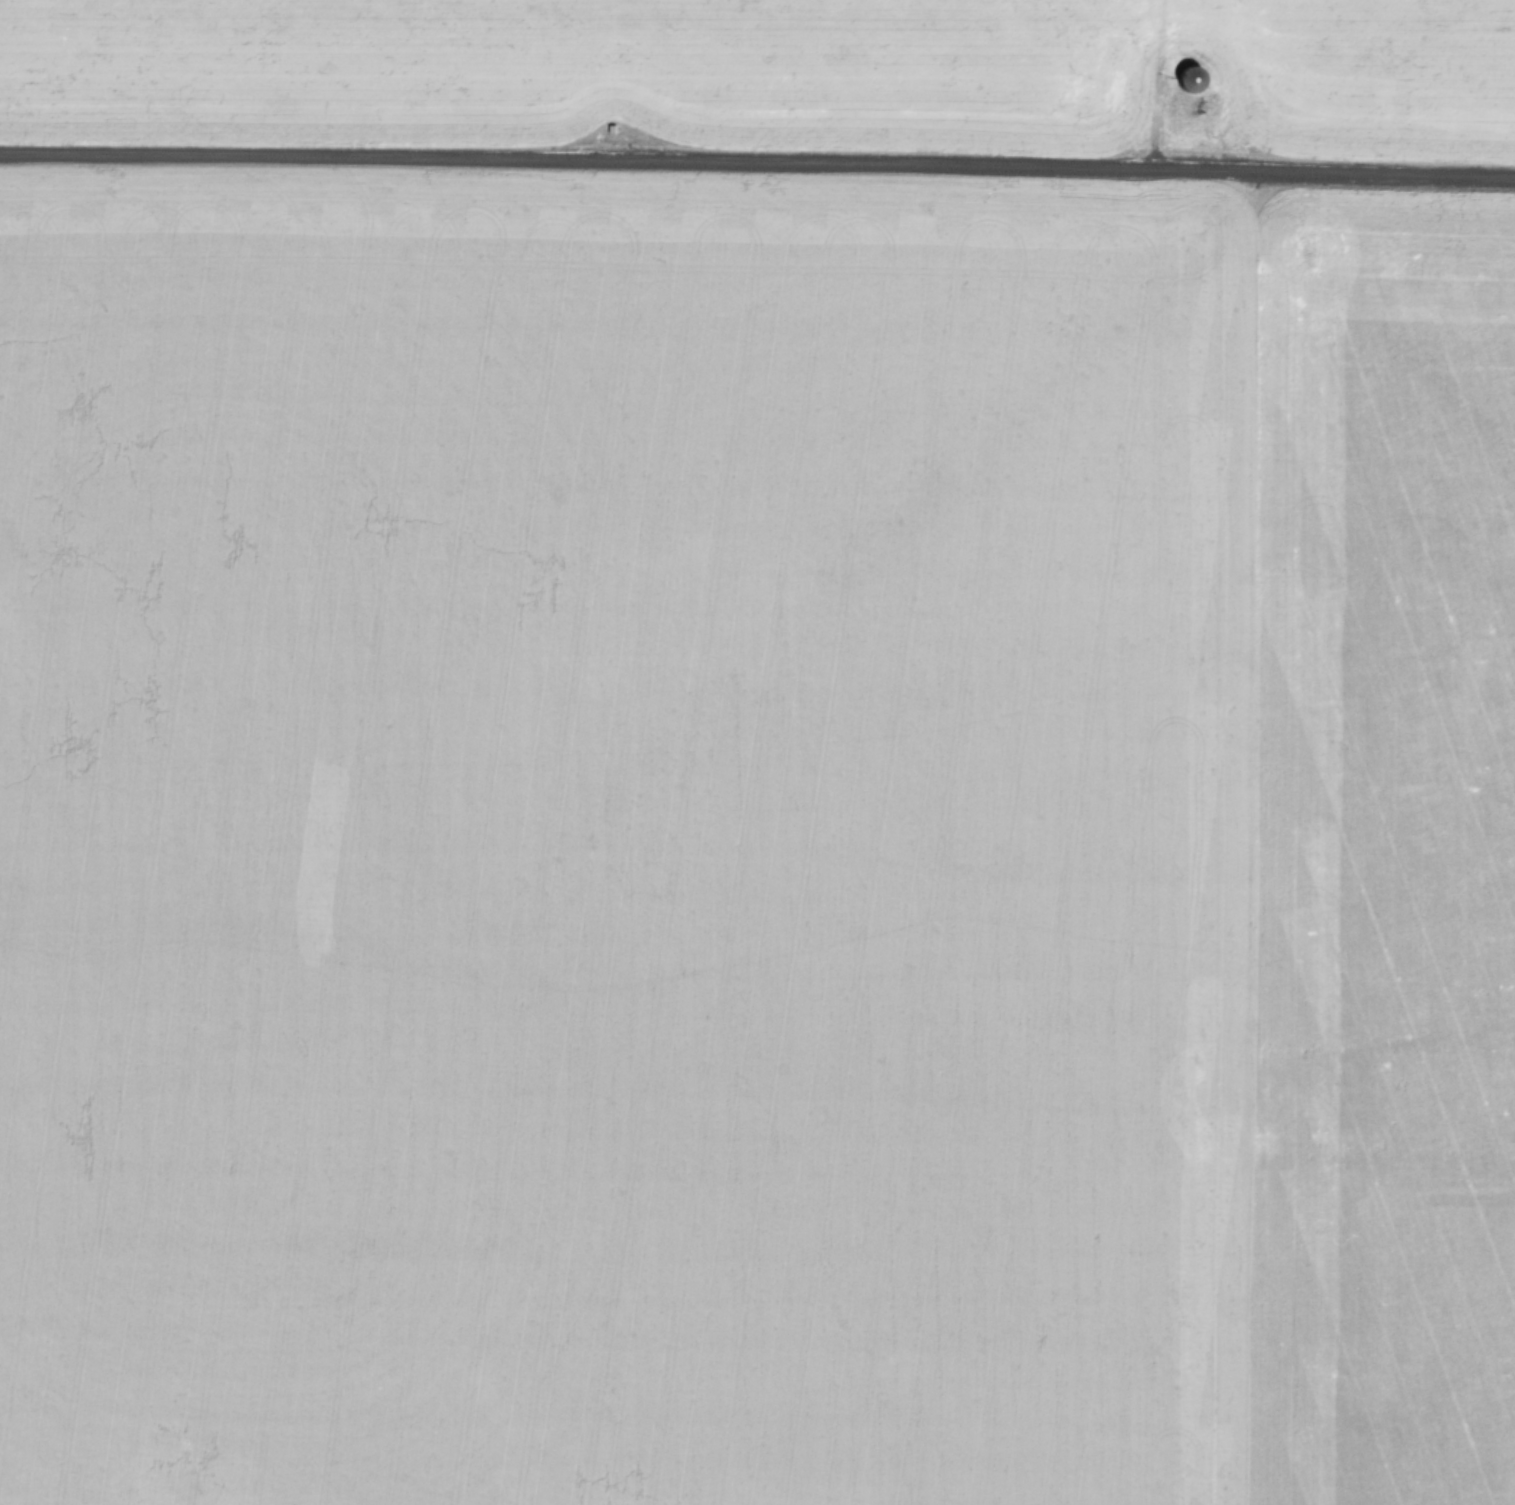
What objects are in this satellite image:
building: (1190, 77)
road: (1154, 83)
road: (757, 164)

